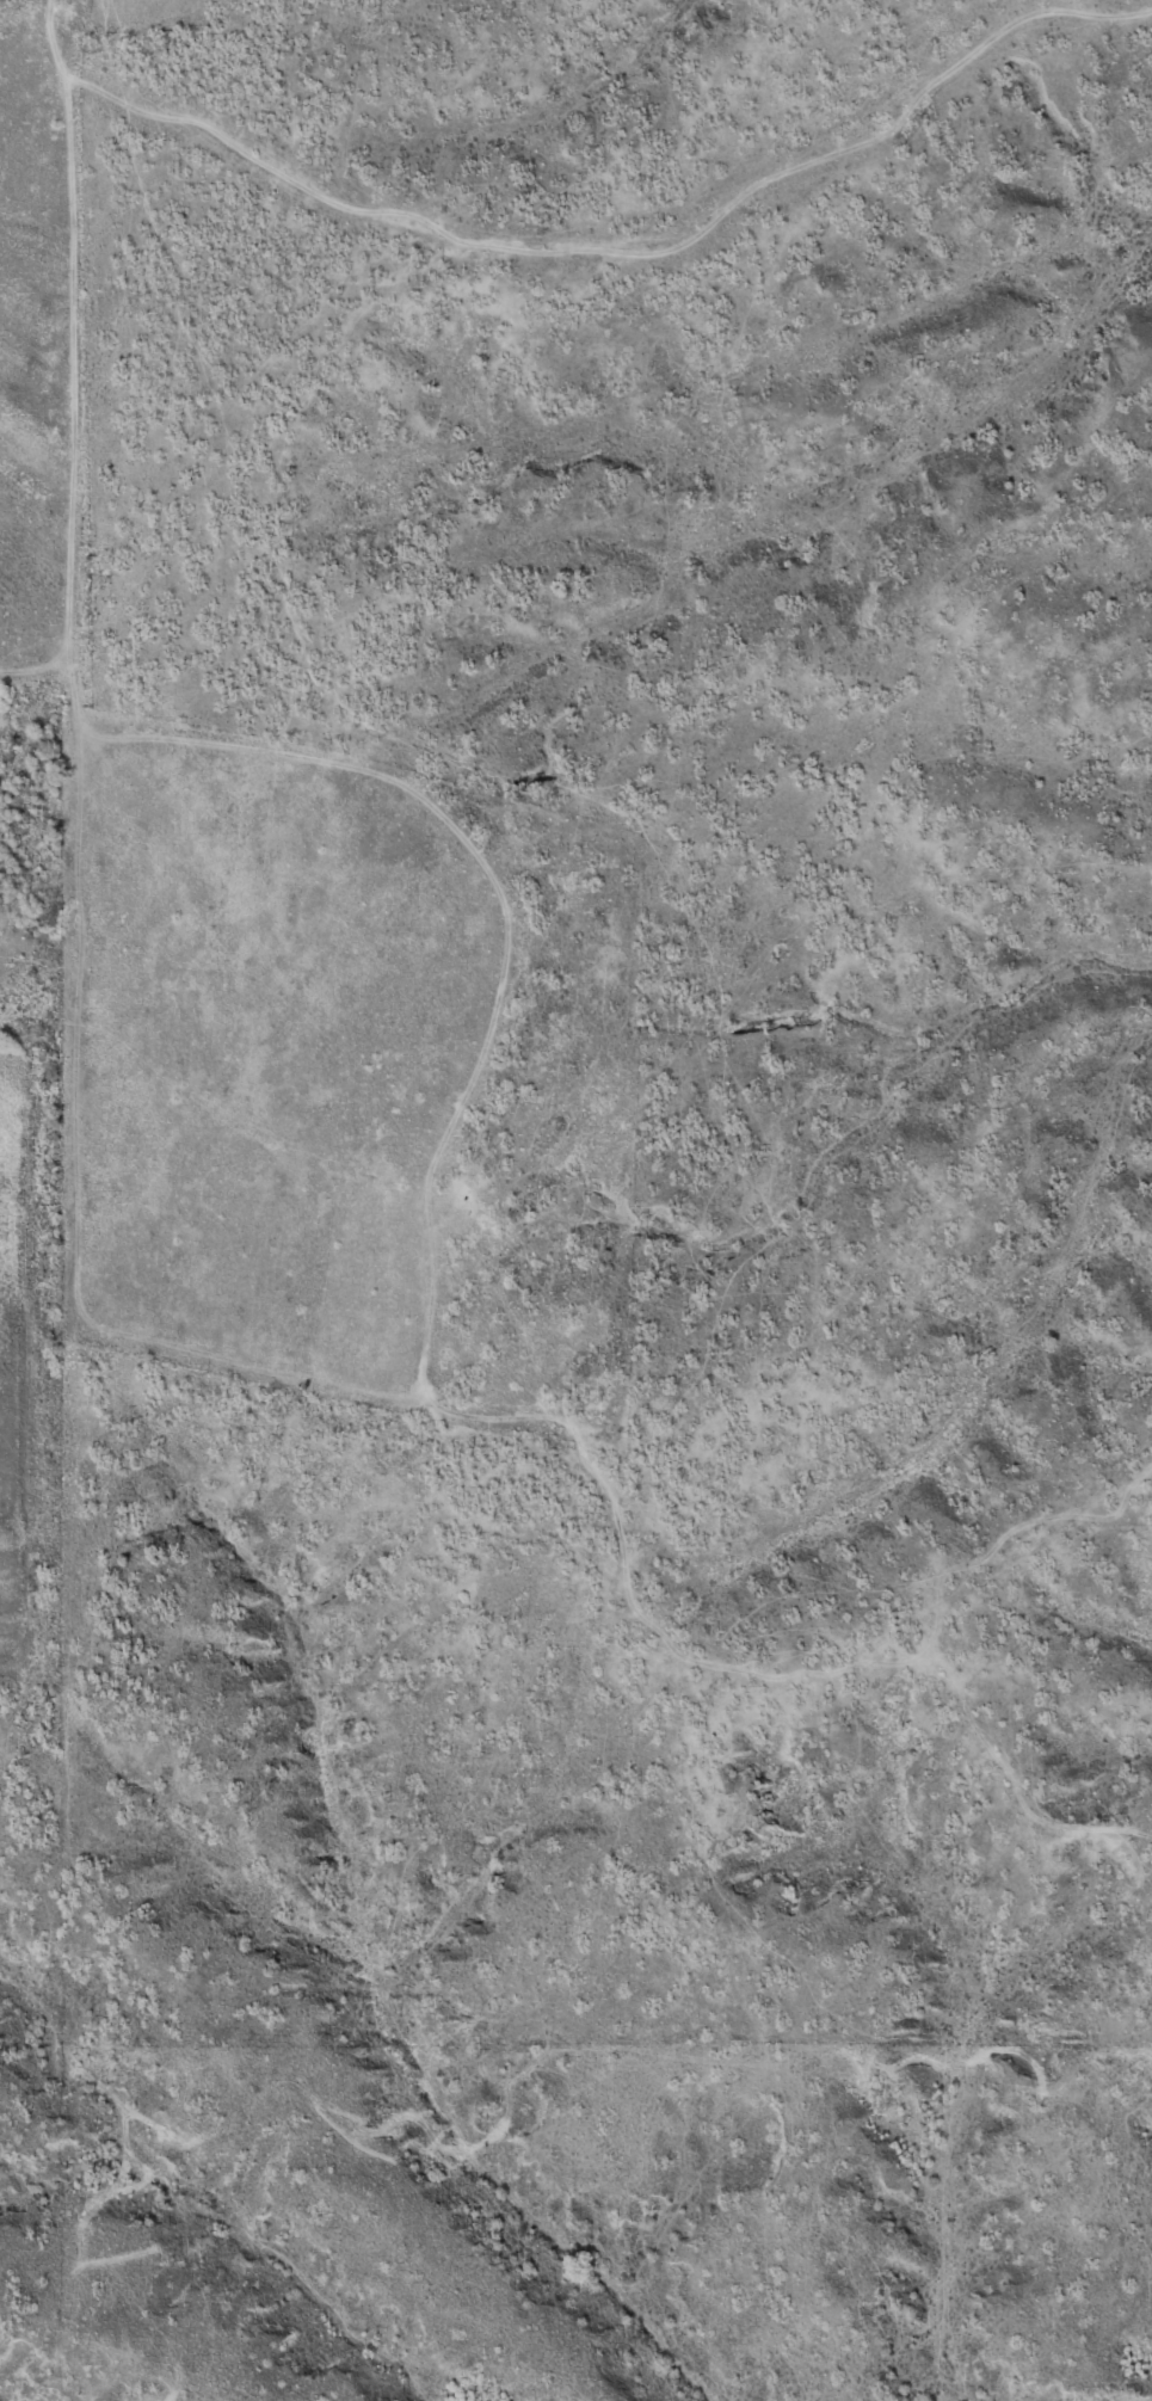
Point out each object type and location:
road: (79, 387)

